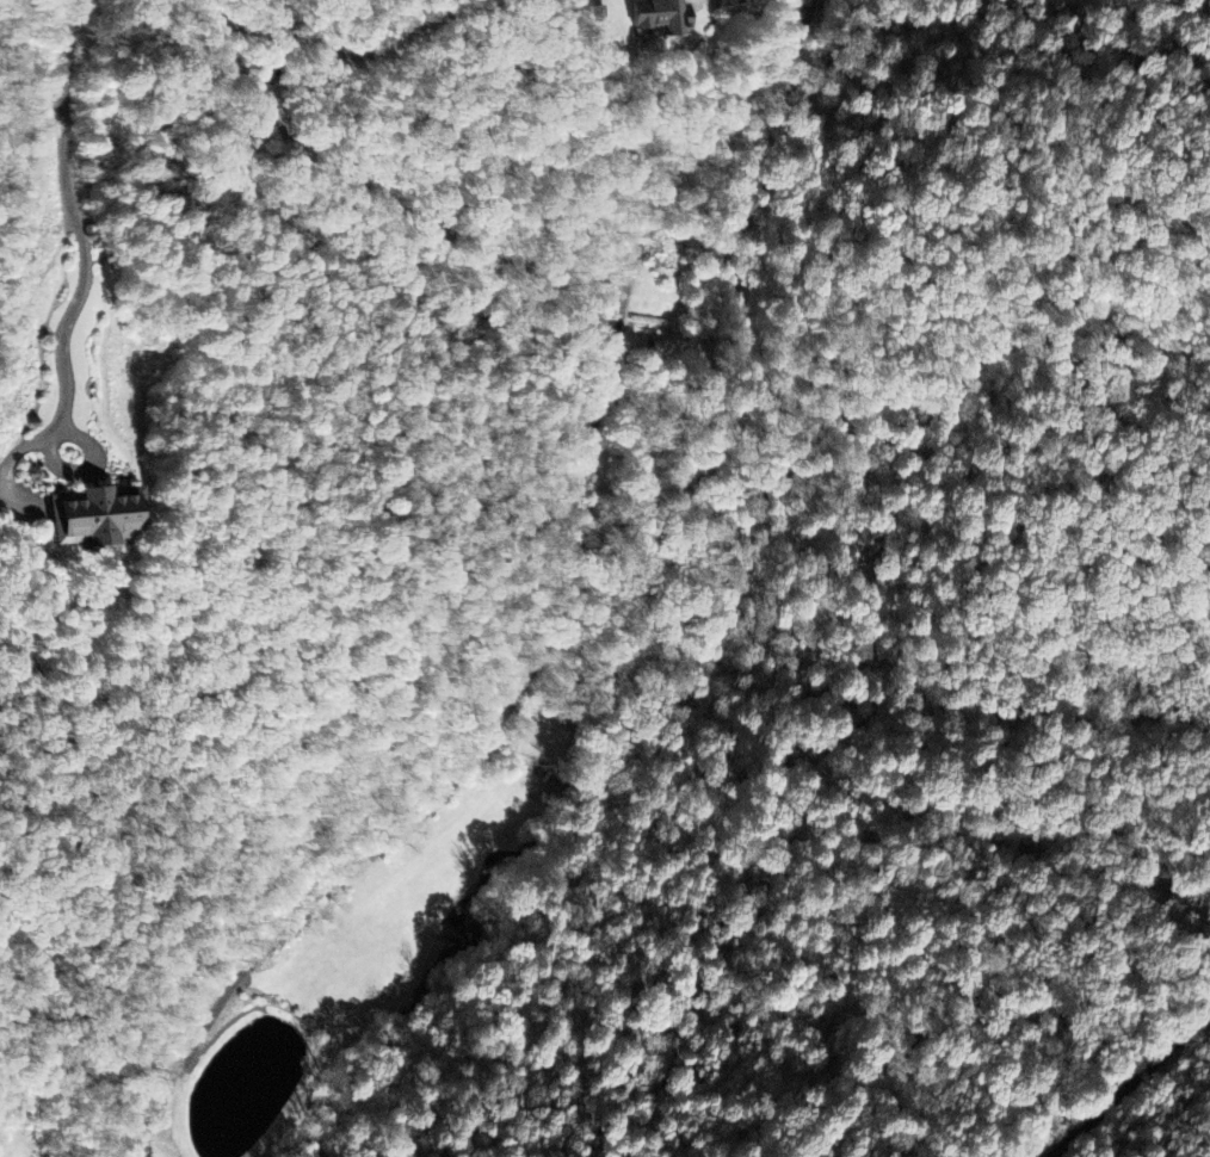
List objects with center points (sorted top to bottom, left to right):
building: (663, 14)
road: (609, 358)
road: (601, 390)
building: (91, 518)
road: (426, 808)
road: (1131, 1083)

